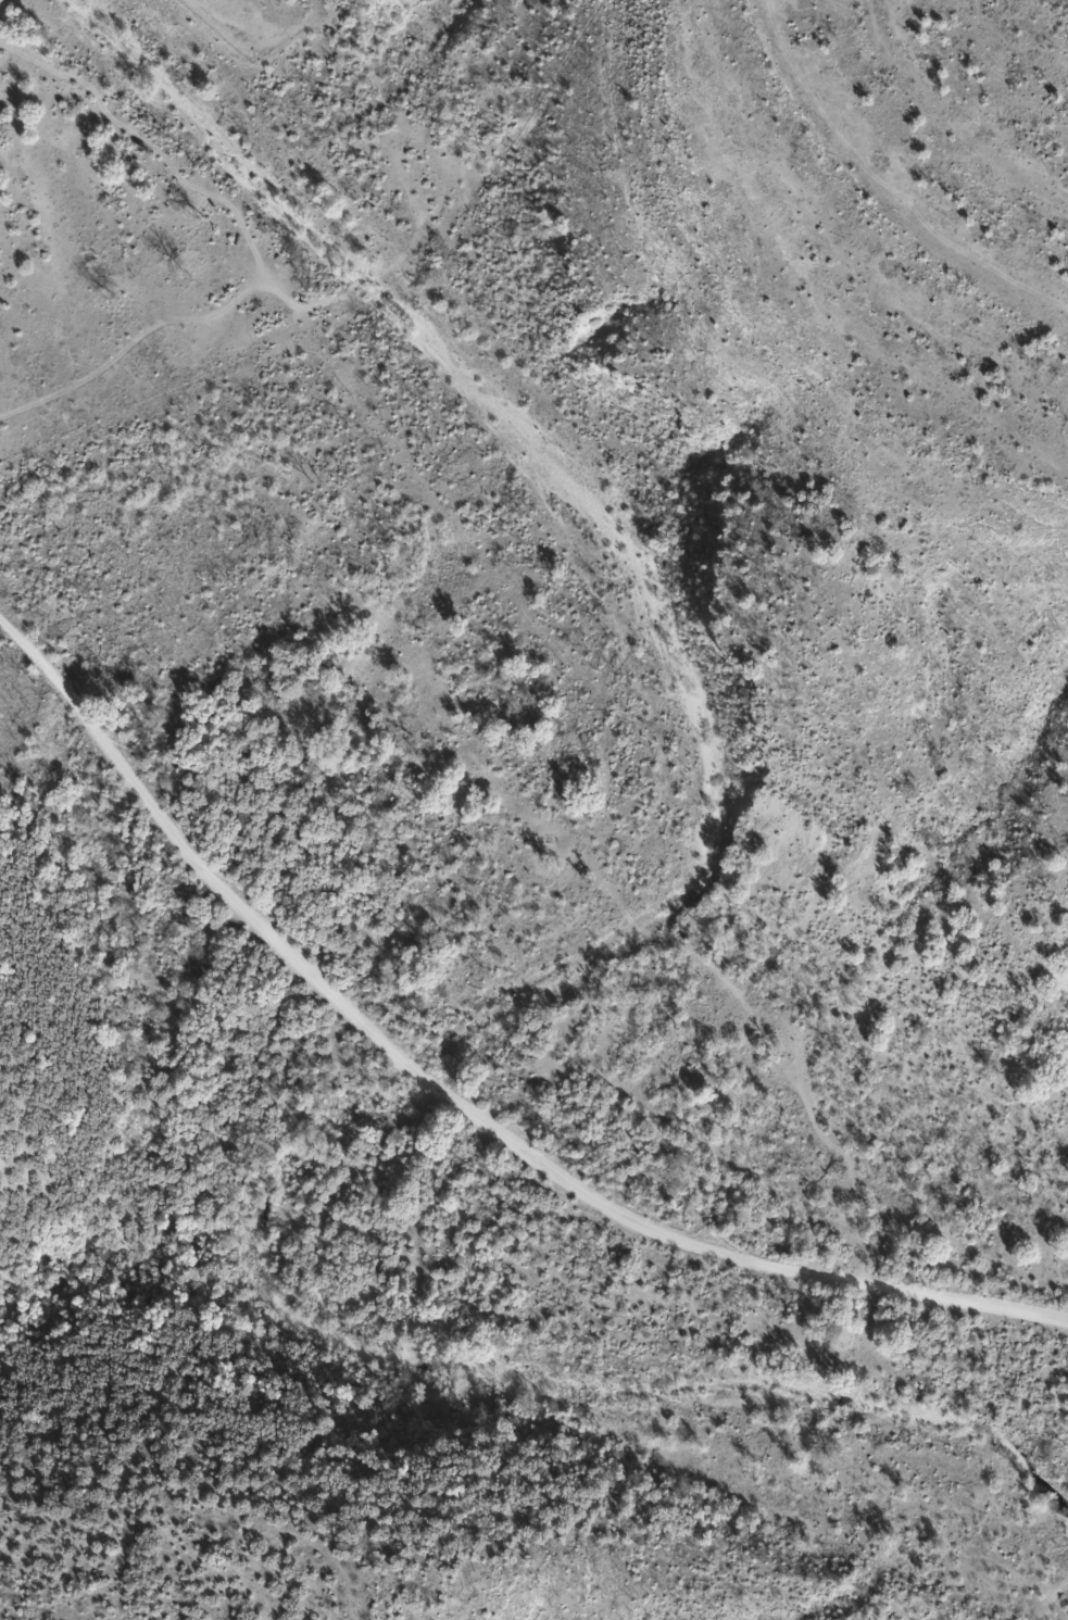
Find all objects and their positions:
road: (473, 1100)

